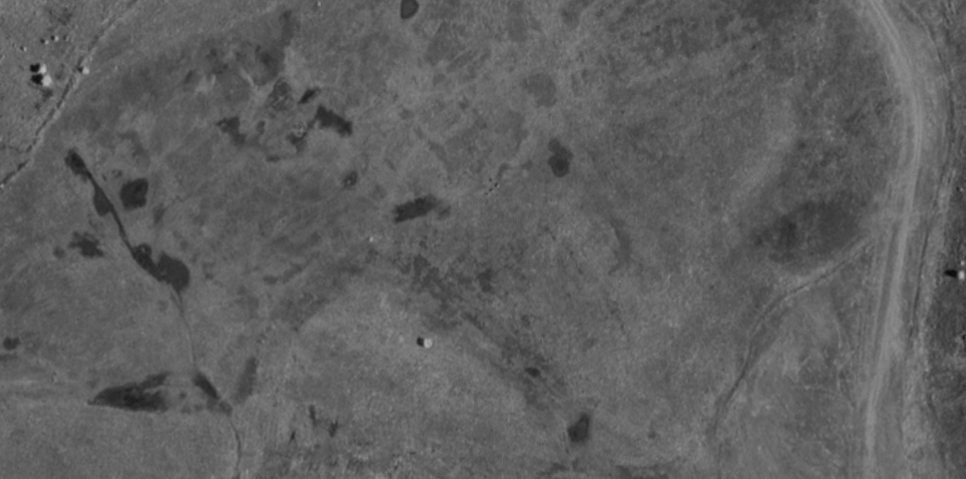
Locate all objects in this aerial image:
quarry: (483, 239)

